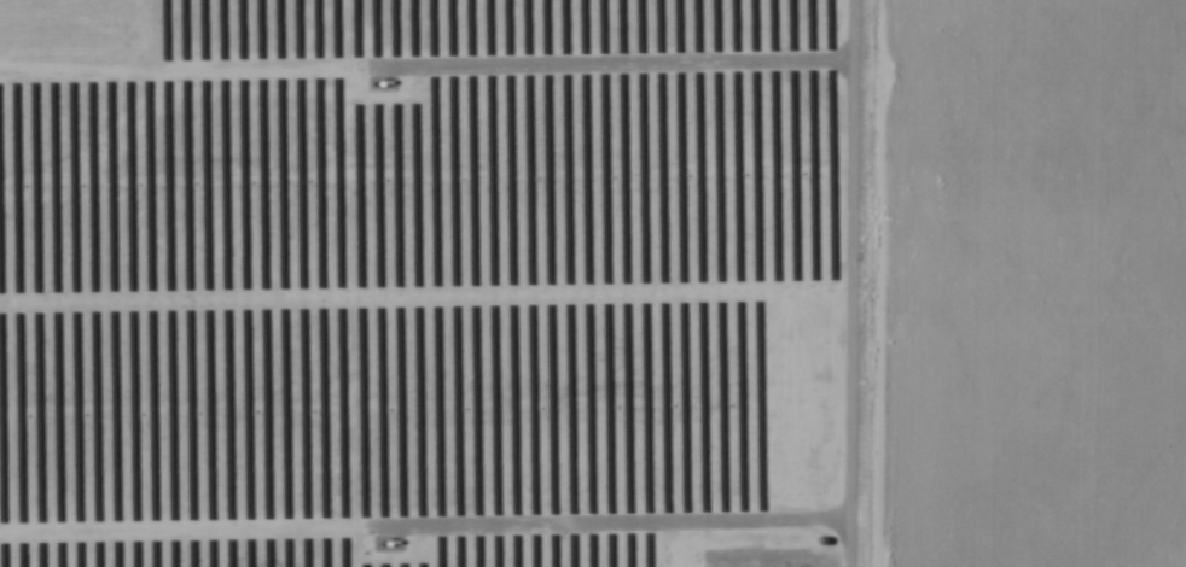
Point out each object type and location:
solar farm: (441, 282)
road: (861, 283)
crop: (1034, 283)

